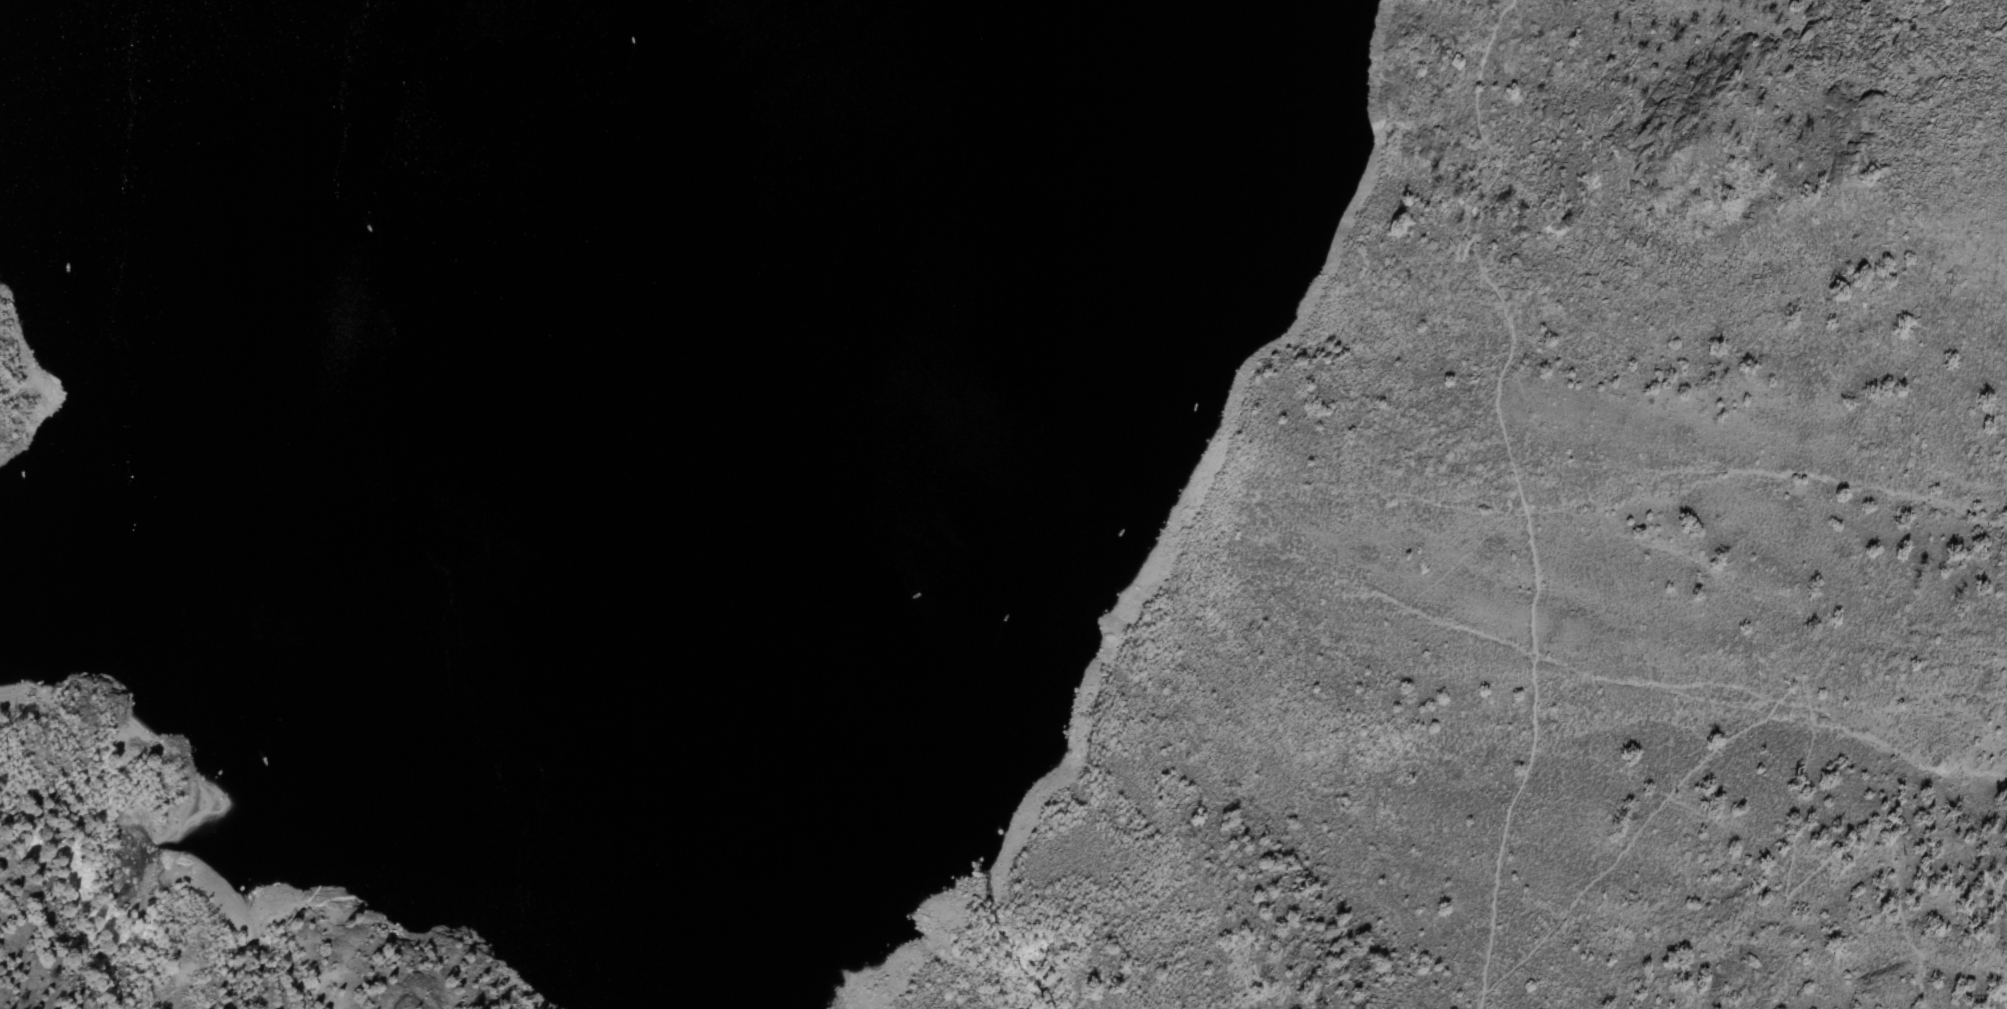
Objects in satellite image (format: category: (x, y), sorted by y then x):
road: (1513, 463)
road: (1809, 746)
road: (1485, 1000)

